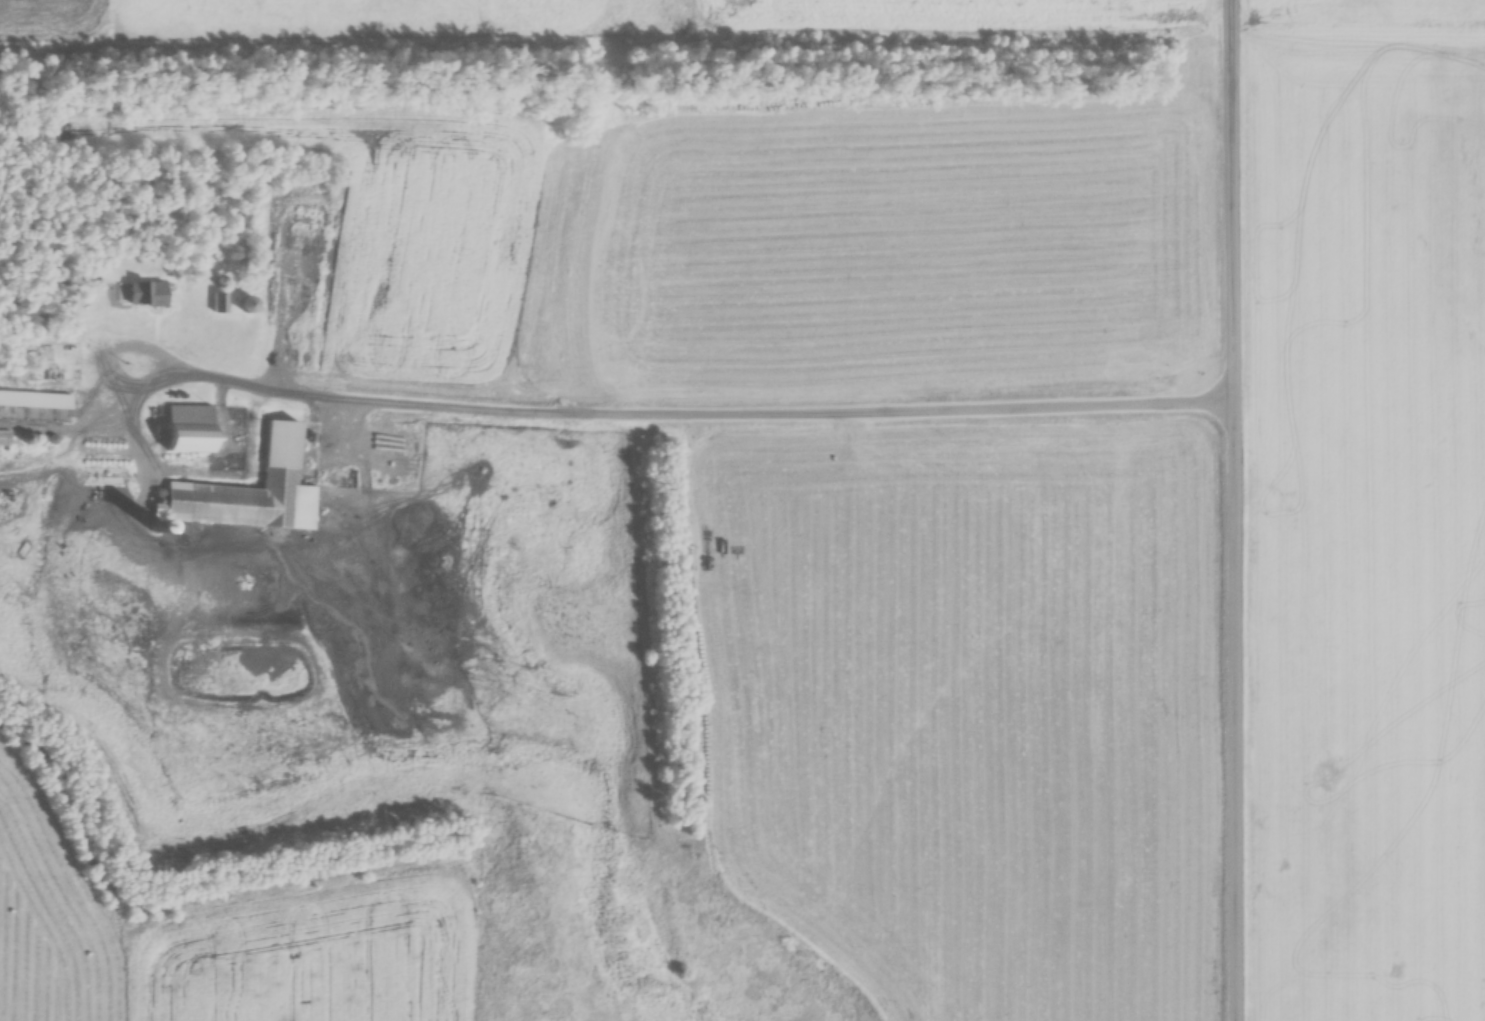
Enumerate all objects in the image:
building: (301, 245)
building: (147, 294)
building: (248, 305)
building: (189, 429)
building: (4, 438)
building: (246, 500)
road: (1240, 510)

